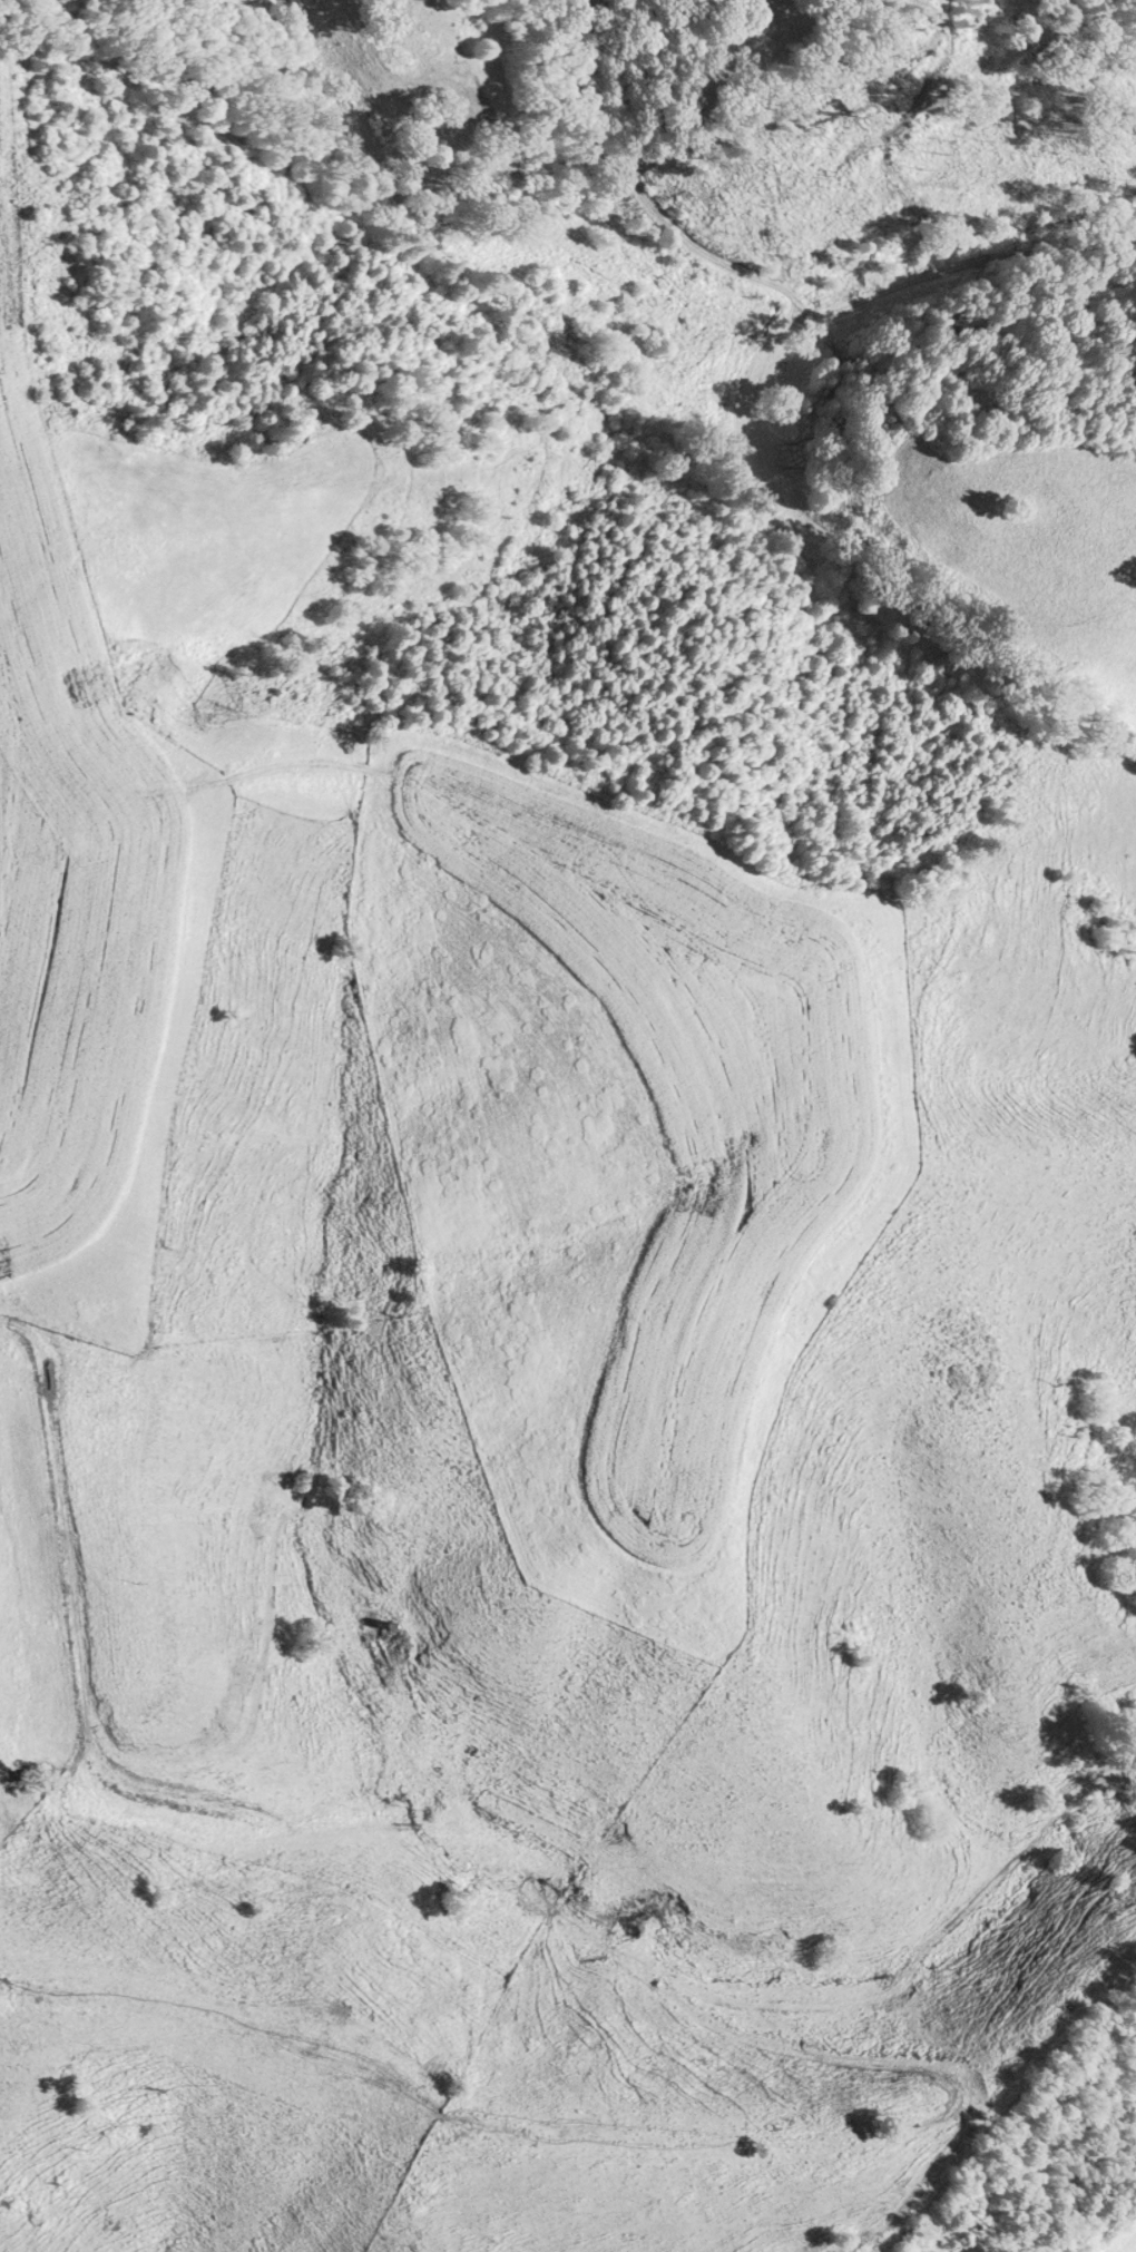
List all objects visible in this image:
building: (390, 1645)

